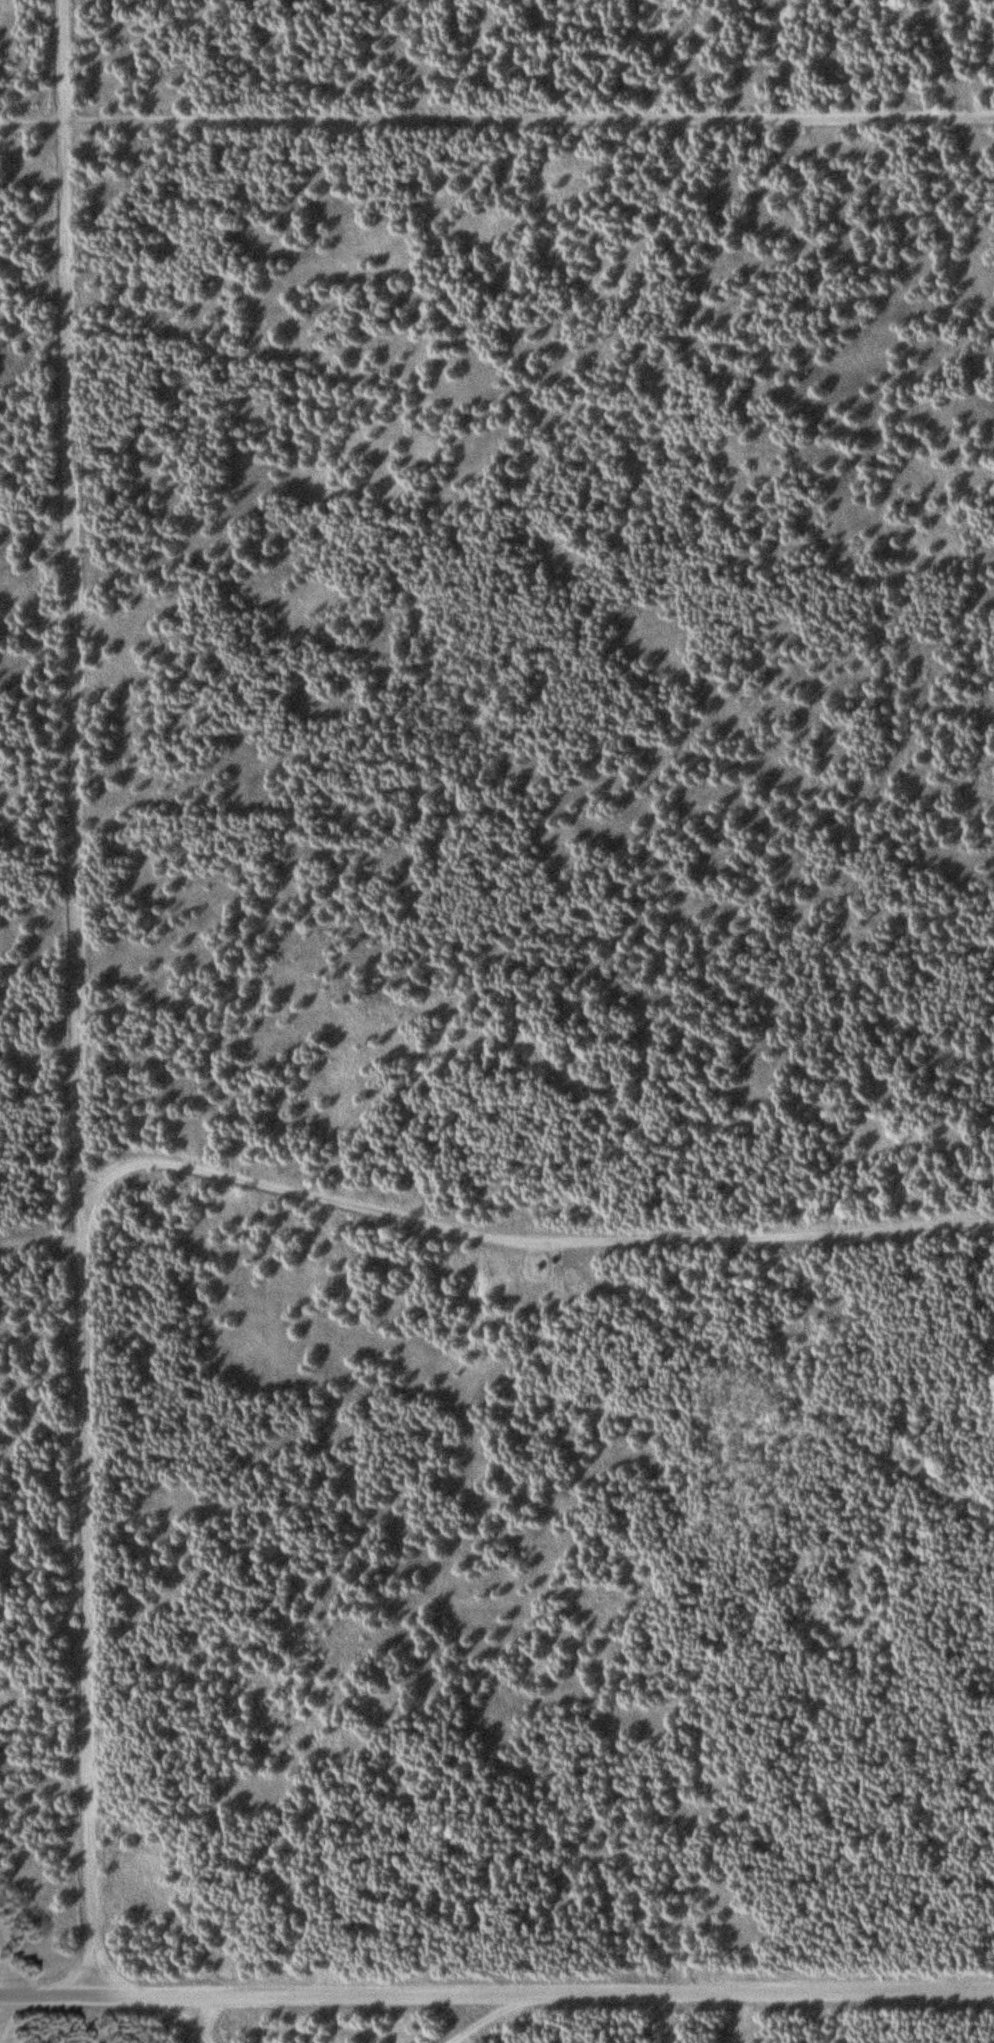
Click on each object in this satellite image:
road: (497, 116)
road: (78, 1001)
road: (519, 1231)
road: (497, 1991)
road: (665, 2015)
road: (500, 2017)
road: (193, 2021)

